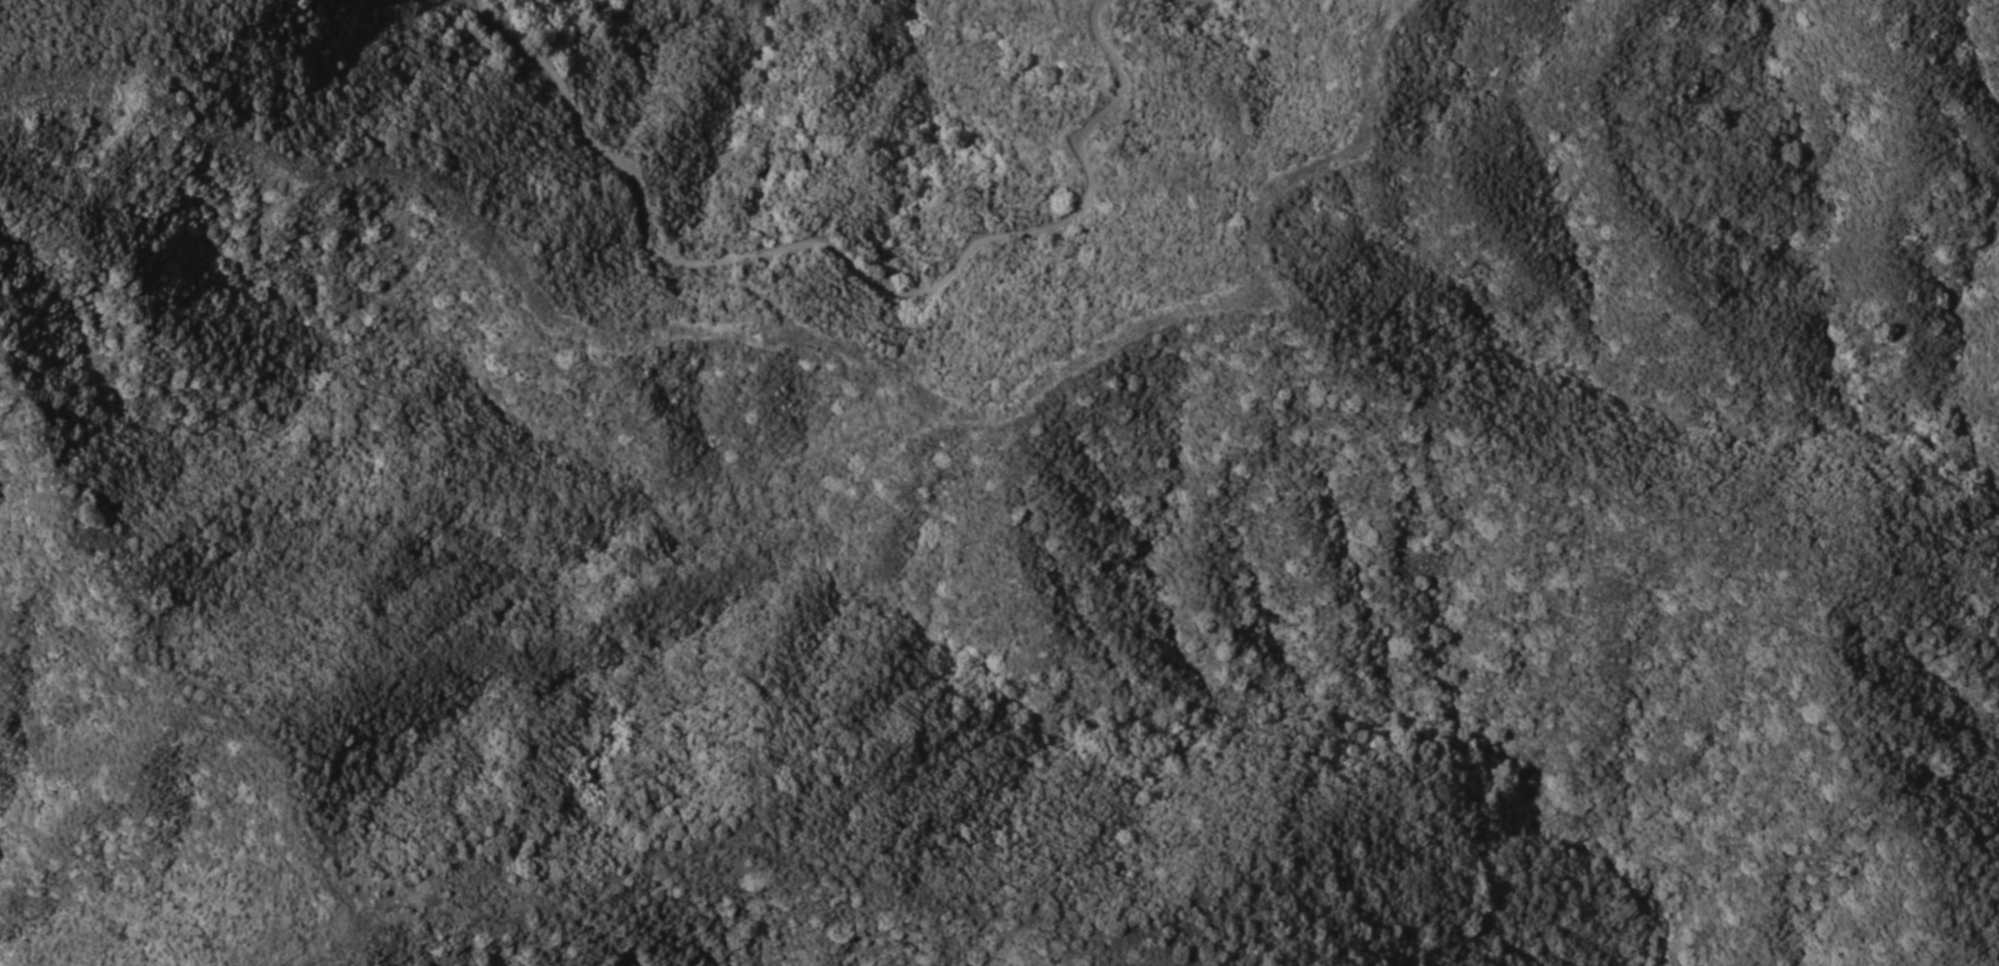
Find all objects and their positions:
road: (836, 257)
road: (752, 293)

